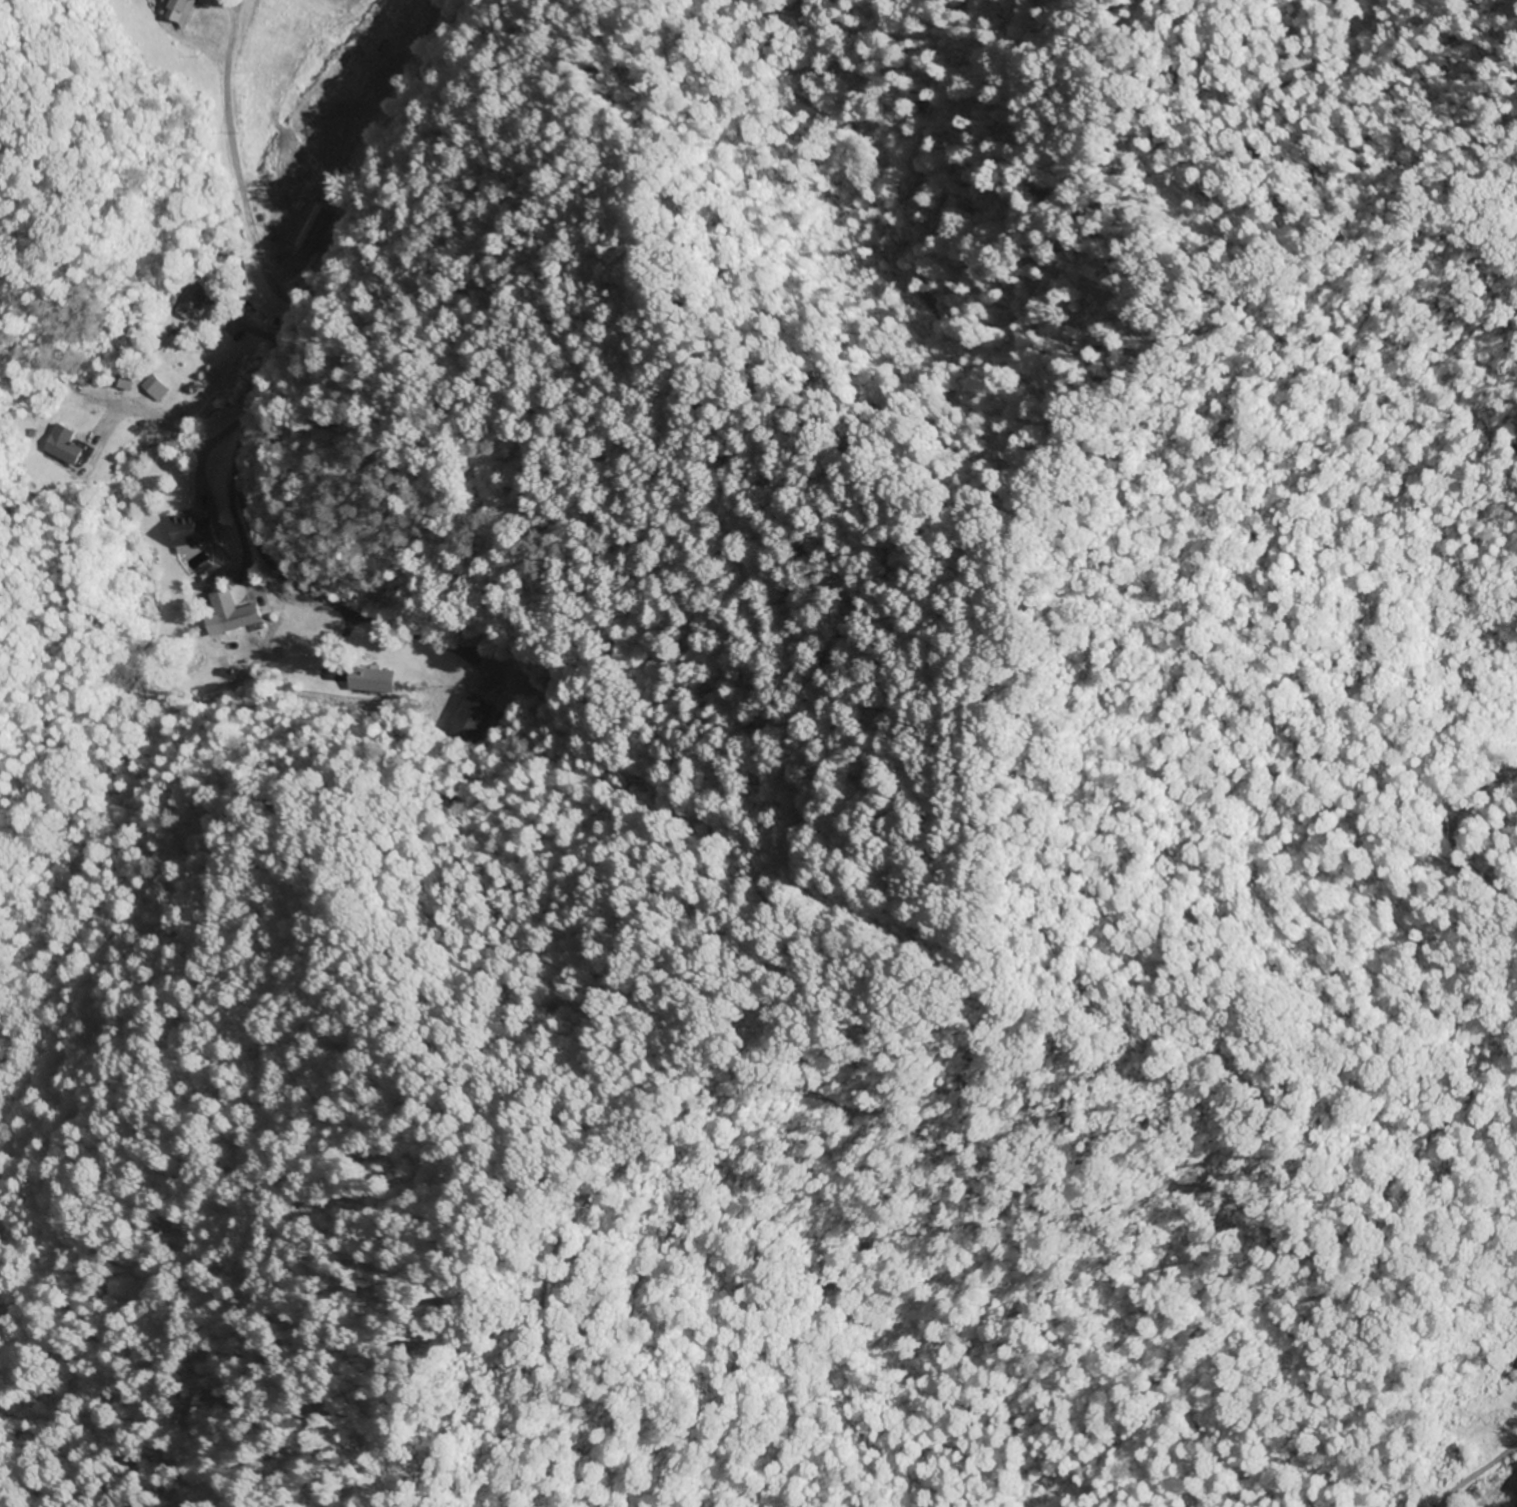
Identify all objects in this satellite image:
building: (189, 302)
road: (266, 366)
building: (153, 387)
building: (62, 449)
building: (191, 531)
building: (236, 617)
building: (368, 679)
building: (467, 719)
building: (1515, 1369)
building: (1469, 1414)
building: (1498, 1441)
road: (1486, 1483)
building: (1501, 1494)

